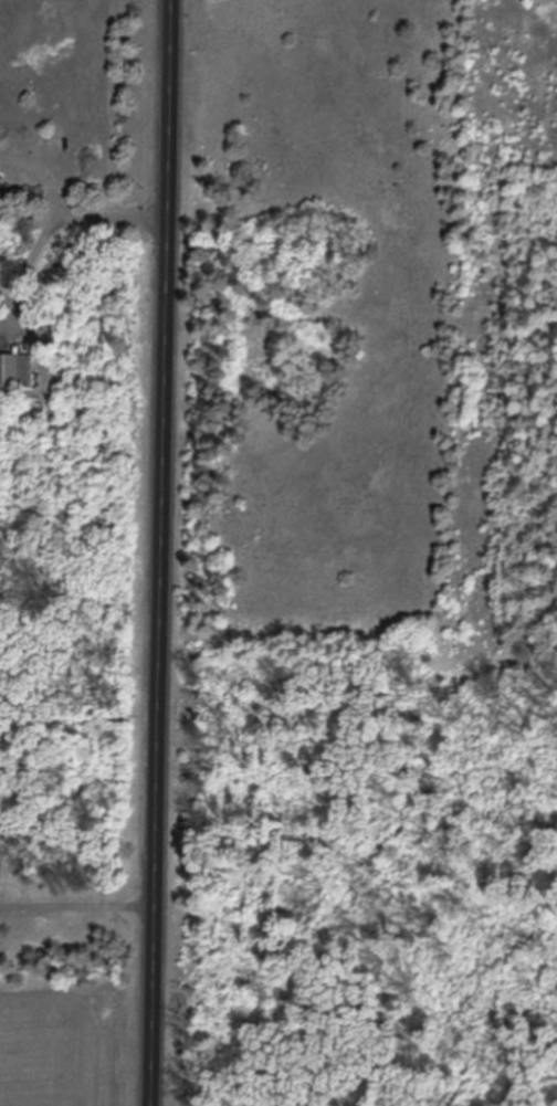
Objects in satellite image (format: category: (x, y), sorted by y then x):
building: (15, 372)
road: (160, 552)
park: (359, 557)

